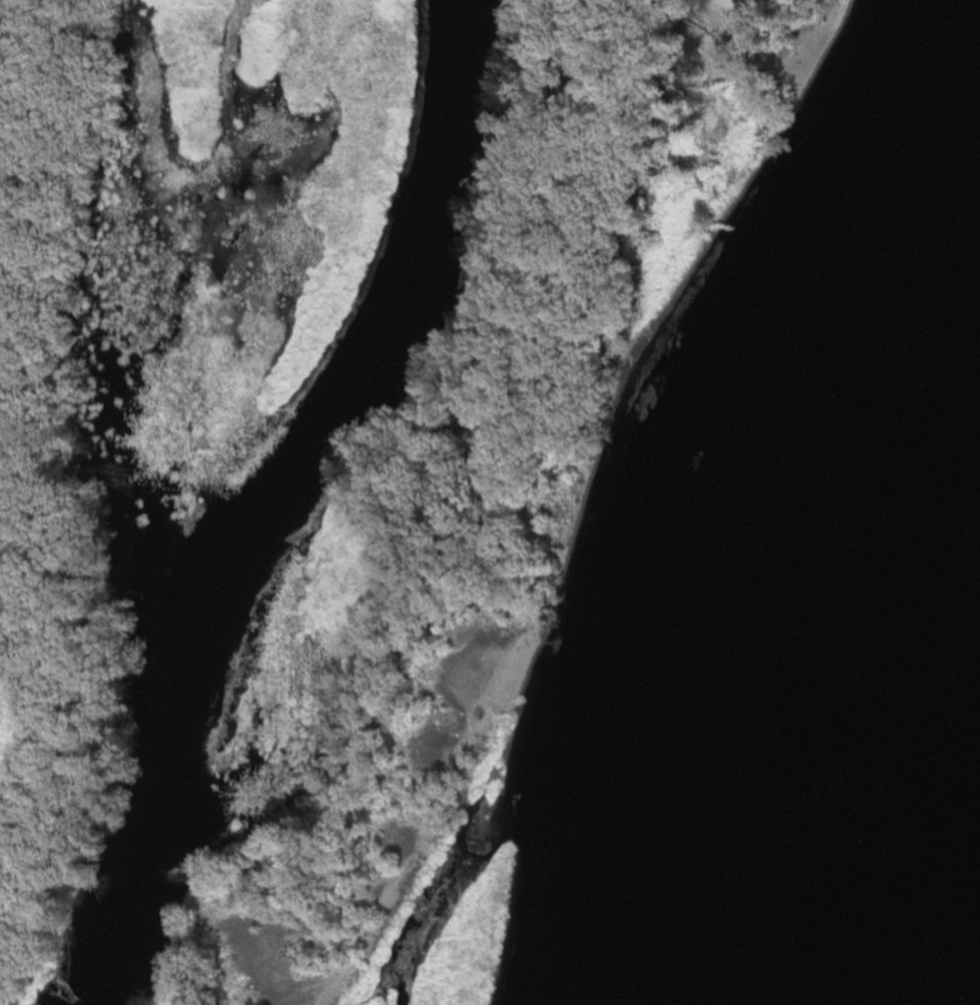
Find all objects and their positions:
river: (918, 831)

